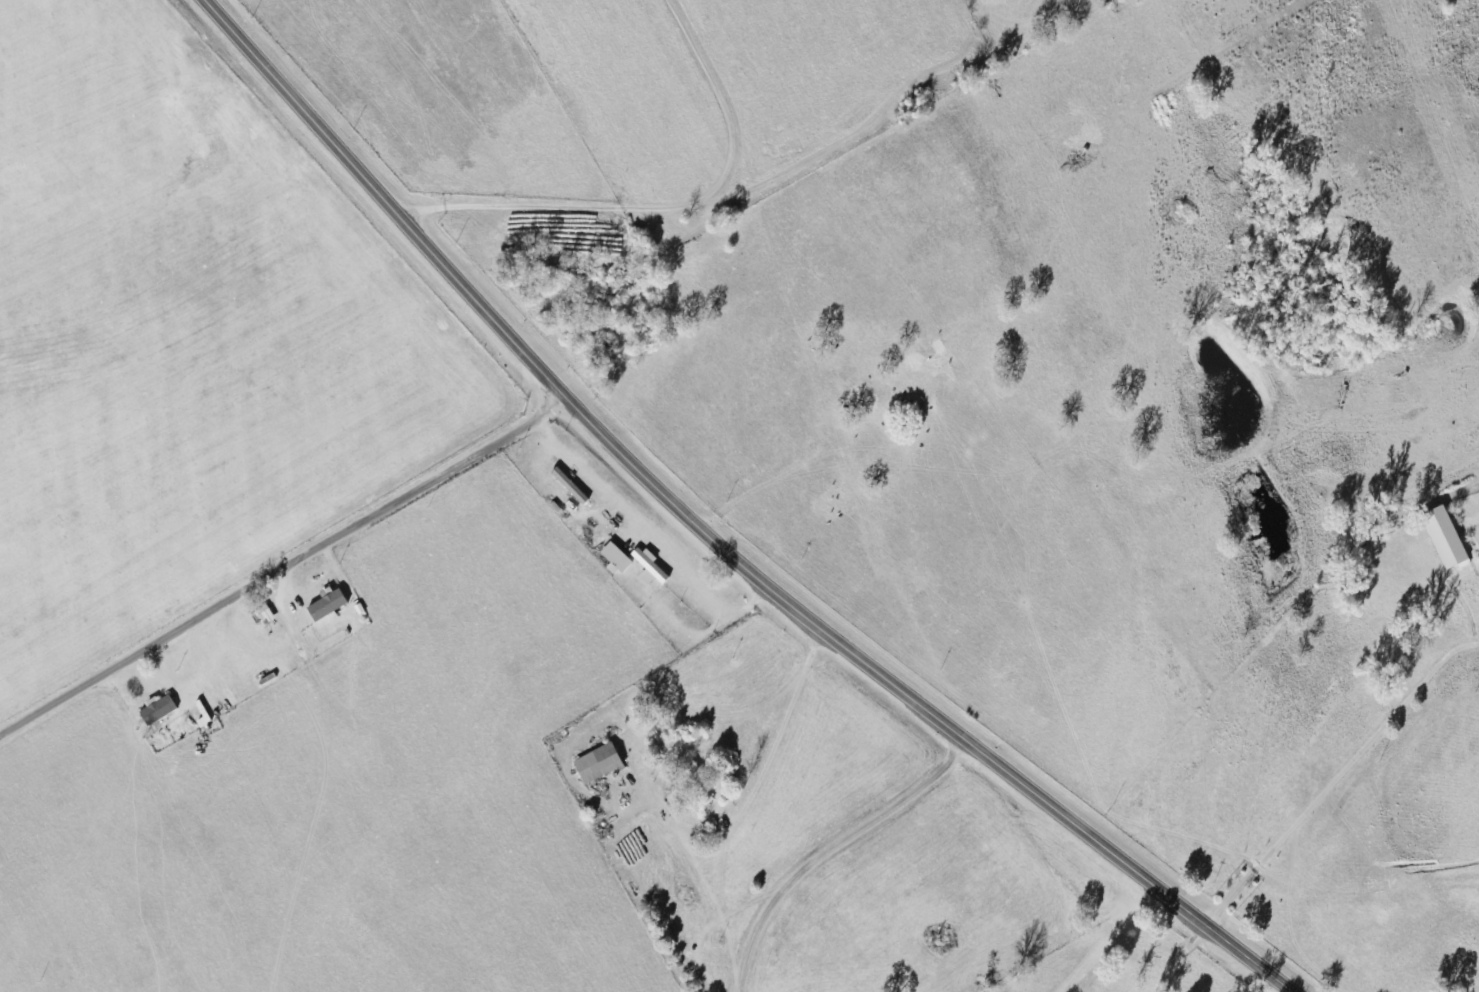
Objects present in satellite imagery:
road: (704, 174)
road: (708, 536)
building: (1442, 539)
building: (613, 559)
road: (282, 567)
building: (647, 568)
building: (325, 604)
building: (264, 615)
building: (156, 710)
building: (200, 715)
building: (595, 764)
building: (692, 782)

